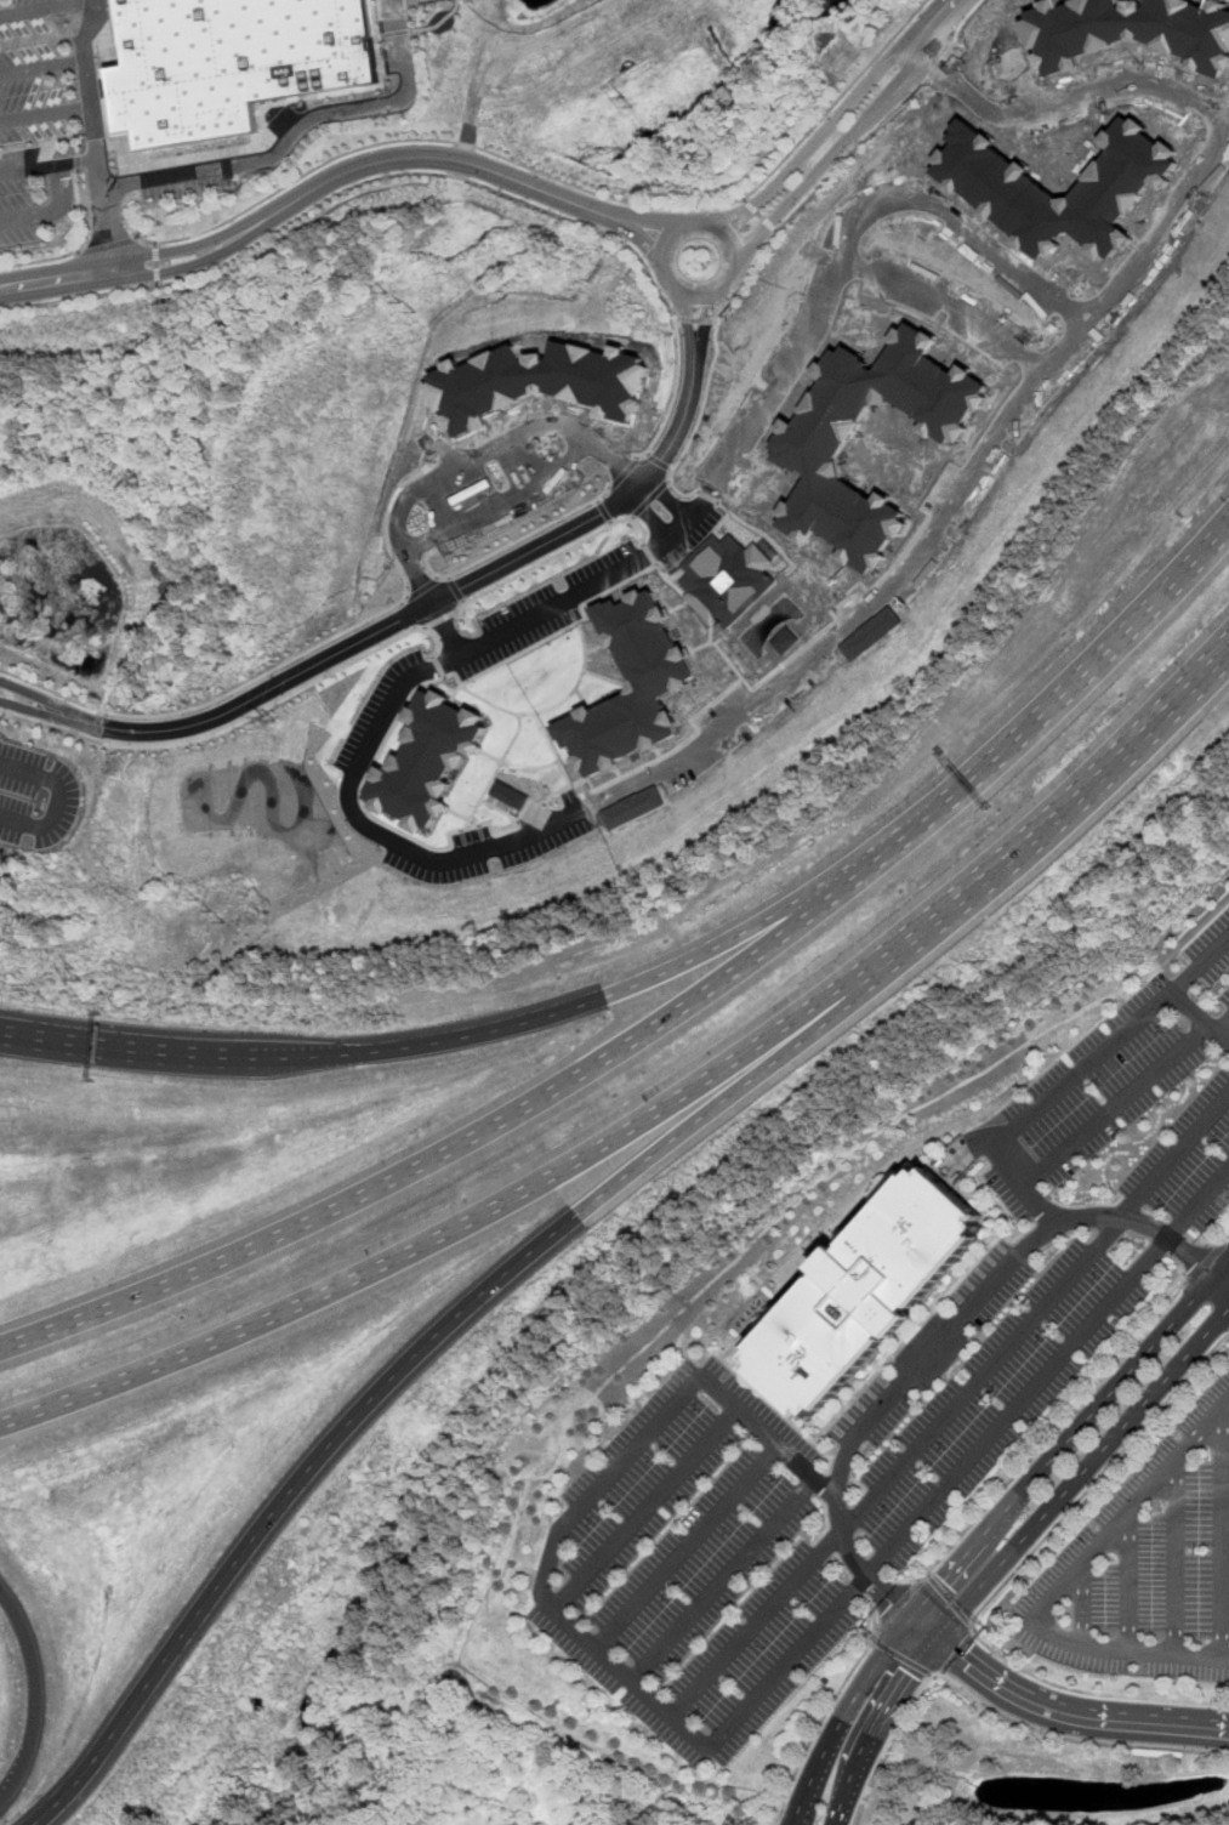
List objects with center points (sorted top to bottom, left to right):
road: (47, 7)
road: (965, 25)
building: (1132, 30)
road: (915, 50)
building: (232, 61)
road: (40, 67)
road: (938, 70)
road: (939, 70)
road: (1088, 93)
power tower: (626, 102)
parking lot: (49, 109)
road: (45, 113)
road: (837, 119)
road: (298, 120)
road: (857, 129)
road: (95, 138)
park: (1064, 141)
road: (78, 144)
road: (850, 150)
road: (440, 158)
road: (79, 159)
road: (79, 160)
road: (29, 165)
parking lot: (193, 178)
road: (562, 178)
road: (354, 186)
building: (996, 186)
road: (64, 191)
road: (762, 215)
road: (27, 221)
road: (658, 224)
road: (1162, 224)
road: (649, 241)
road: (110, 246)
road: (81, 250)
road: (130, 258)
road: (160, 263)
park: (954, 267)
road: (135, 277)
road: (750, 279)
road: (700, 297)
power tower: (402, 303)
road: (948, 303)
road: (698, 320)
road: (688, 322)
road: (710, 322)
building: (545, 386)
road: (676, 394)
road: (699, 422)
building: (813, 453)
road: (478, 459)
road: (624, 473)
road: (649, 500)
road: (502, 501)
road: (660, 508)
road: (511, 544)
road: (557, 553)
building: (723, 576)
road: (425, 587)
road: (443, 619)
road: (396, 624)
road: (448, 629)
road: (263, 677)
building: (631, 684)
road: (51, 690)
road: (1048, 705)
power tower: (271, 718)
road: (233, 726)
road: (368, 751)
building: (429, 761)
parking lot: (36, 797)
road: (61, 801)
road: (1051, 809)
power tower: (211, 908)
power tower: (80, 971)
road: (616, 989)
road: (1201, 1013)
road: (181, 1054)
road: (727, 1101)
parking lot: (1131, 1105)
road: (991, 1141)
road: (448, 1153)
road: (1040, 1203)
road: (448, 1234)
road: (1223, 1241)
road: (1200, 1266)
road: (1224, 1274)
building: (863, 1294)
road: (941, 1336)
parking lot: (975, 1385)
road: (950, 1405)
road: (1051, 1435)
road: (1066, 1439)
road: (968, 1456)
road: (1081, 1473)
road: (593, 1490)
road: (290, 1503)
road: (644, 1510)
road: (1222, 1536)
road: (684, 1547)
road: (1176, 1558)
parking lot: (698, 1564)
parking lot: (1149, 1564)
road: (719, 1580)
road: (1131, 1584)
road: (1003, 1585)
road: (1064, 1585)
road: (948, 1601)
road: (1082, 1605)
road: (897, 1607)
road: (920, 1631)
road: (957, 1653)
road: (901, 1659)
road: (45, 1689)
road: (830, 1707)
road: (994, 1711)
road: (1071, 1713)
road: (843, 1718)
road: (881, 1729)

